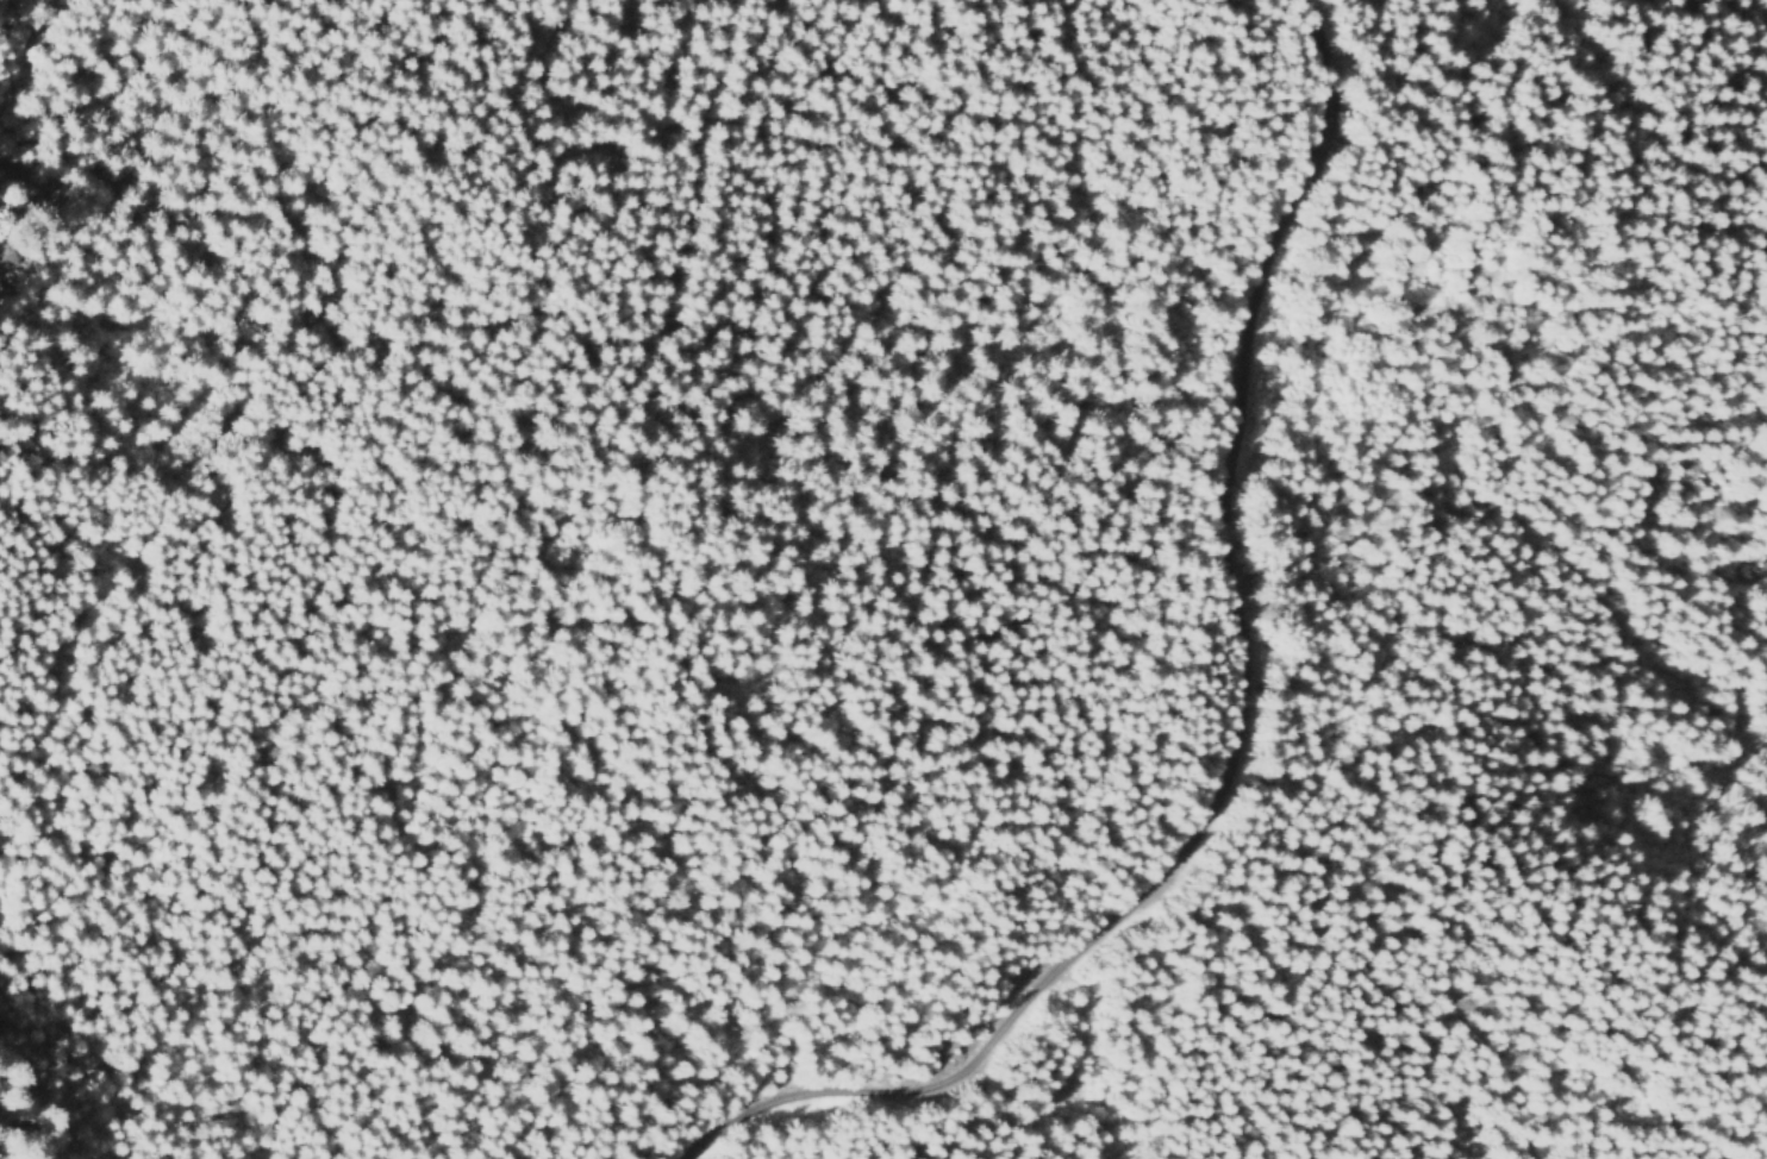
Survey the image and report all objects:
road: (1235, 718)

